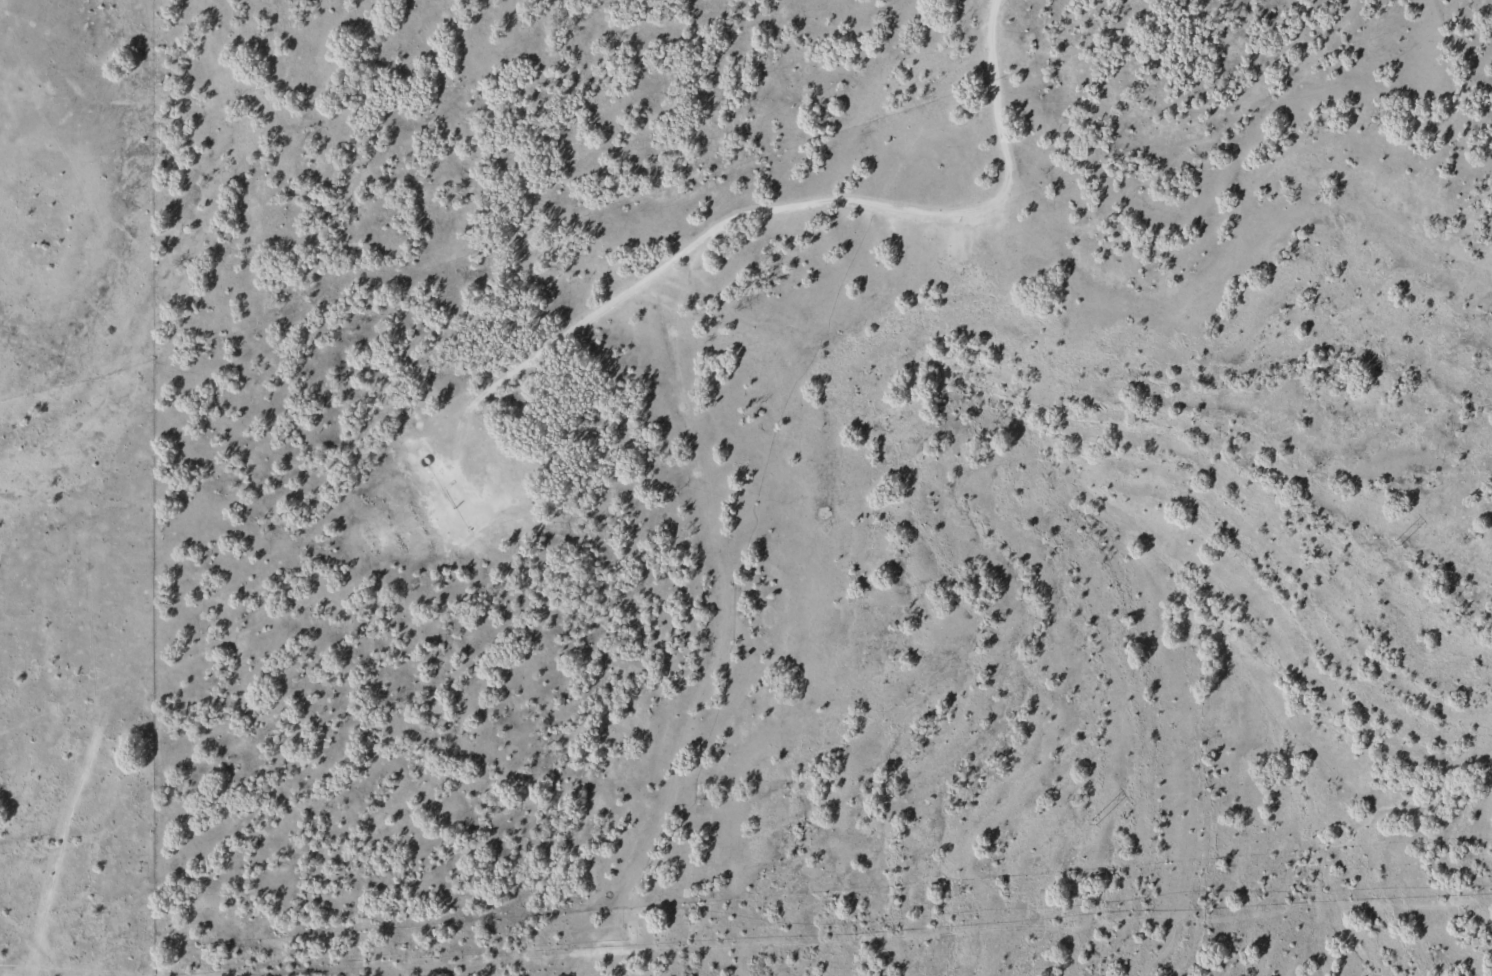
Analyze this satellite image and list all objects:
power tower: (1395, 544)
power tower: (1095, 823)

